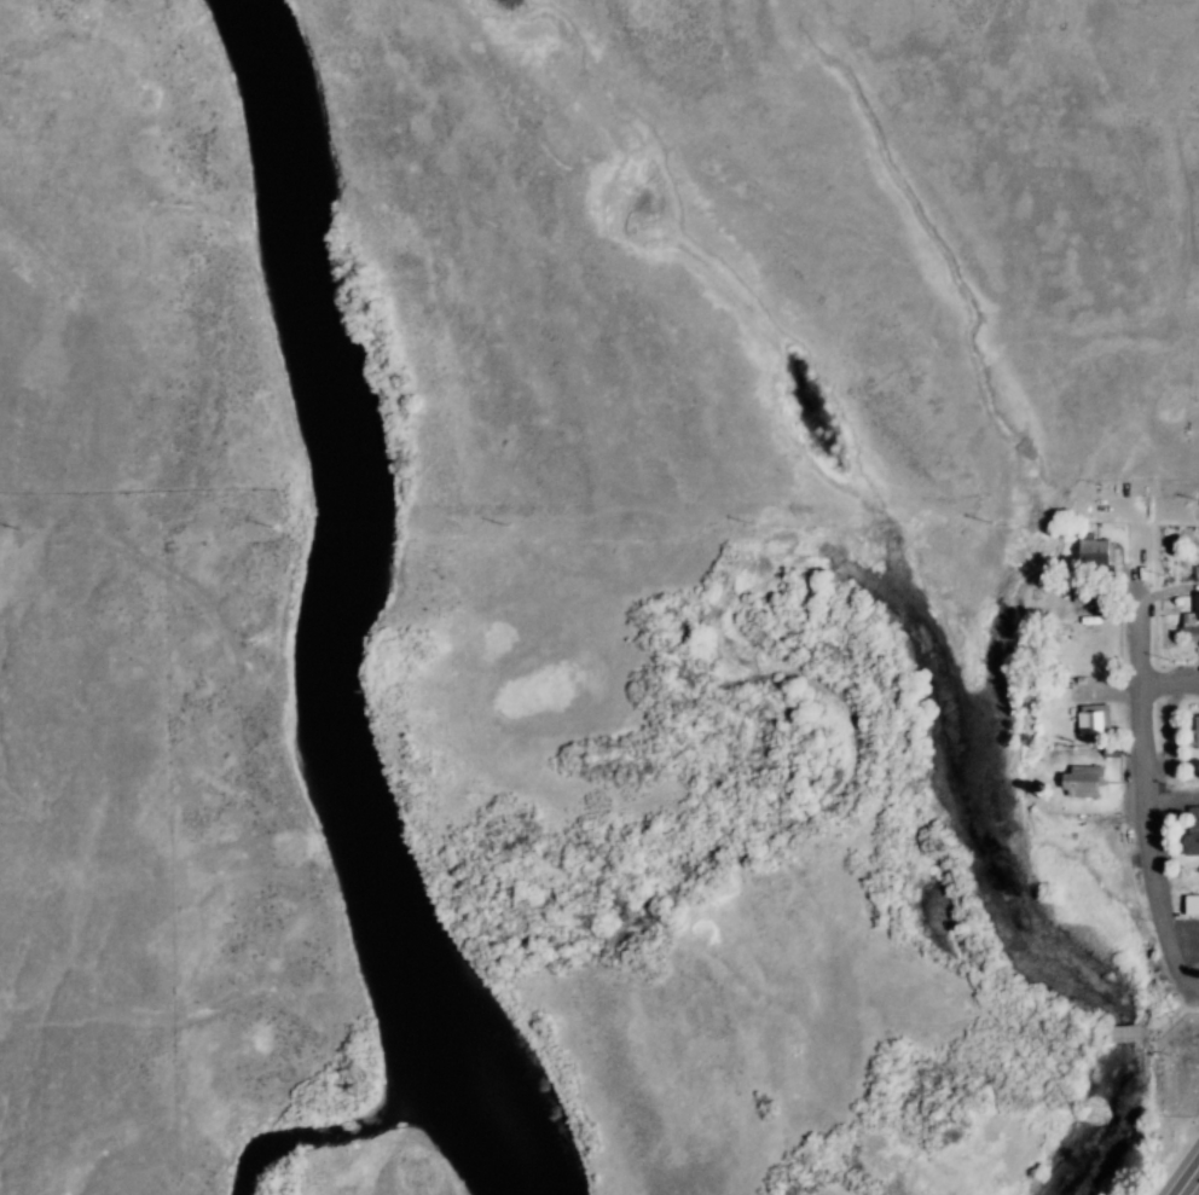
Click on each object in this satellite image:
building: (1091, 551)
building: (1110, 551)
river: (359, 615)
building: (1197, 626)
road: (1157, 633)
road: (1178, 686)
building: (1105, 720)
building: (1193, 732)
building: (1096, 782)
road: (1163, 834)
building: (1197, 845)
building: (1189, 905)
road: (1191, 1183)

